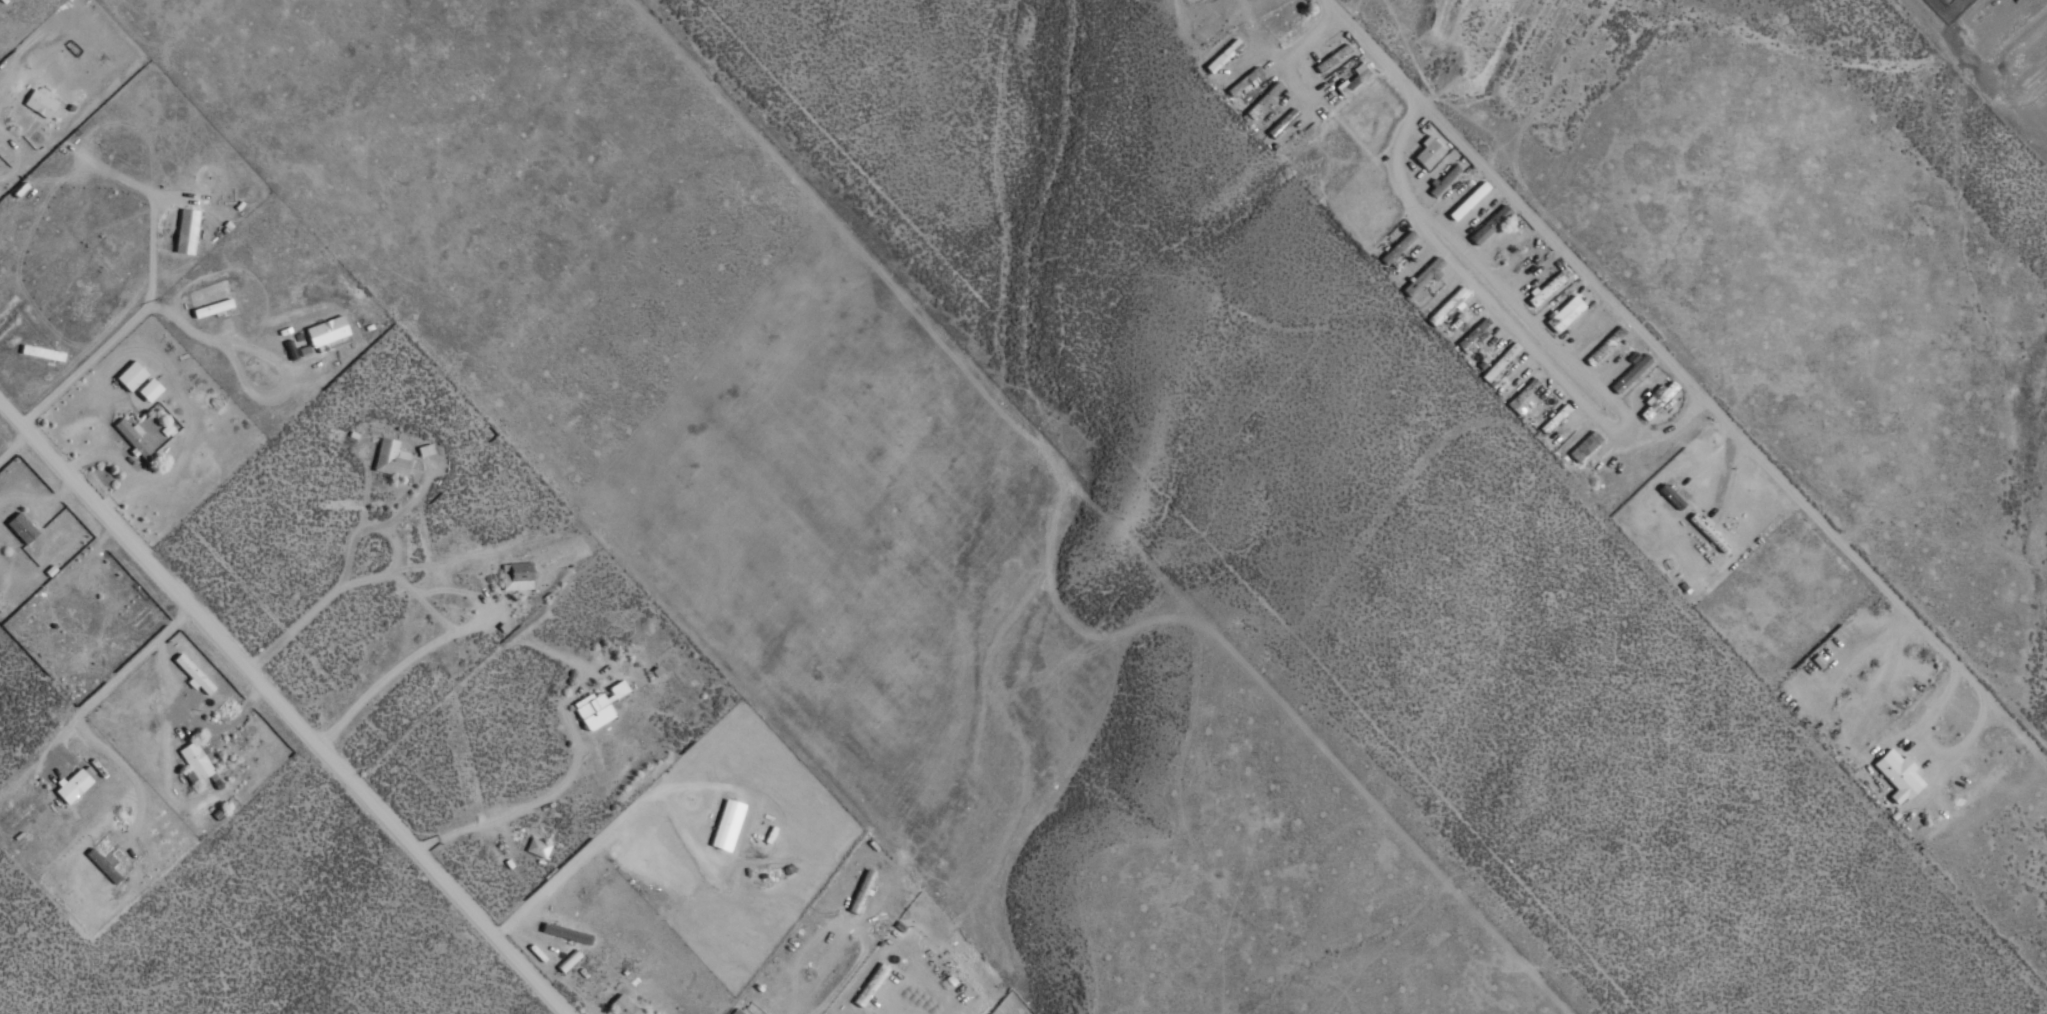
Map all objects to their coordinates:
building: (1219, 56)
building: (1241, 81)
building: (40, 102)
building: (1259, 102)
building: (1280, 122)
building: (1425, 152)
building: (1441, 180)
building: (1465, 201)
building: (1488, 224)
road: (1436, 227)
building: (187, 230)
building: (1511, 244)
building: (1394, 249)
building: (1545, 287)
building: (212, 307)
building: (1444, 307)
building: (1562, 313)
building: (328, 330)
building: (1472, 335)
building: (1497, 362)
building: (1628, 373)
building: (132, 375)
road: (1704, 398)
building: (1520, 399)
road: (12, 413)
building: (1552, 418)
building: (133, 437)
building: (1582, 446)
building: (391, 457)
building: (22, 527)
building: (517, 575)
building: (193, 673)
building: (602, 706)
road: (294, 719)
building: (196, 761)
building: (1895, 775)
building: (73, 785)
building: (728, 824)
building: (537, 847)
building: (566, 933)
building: (567, 960)
building: (624, 1005)
building: (735, 1012)

